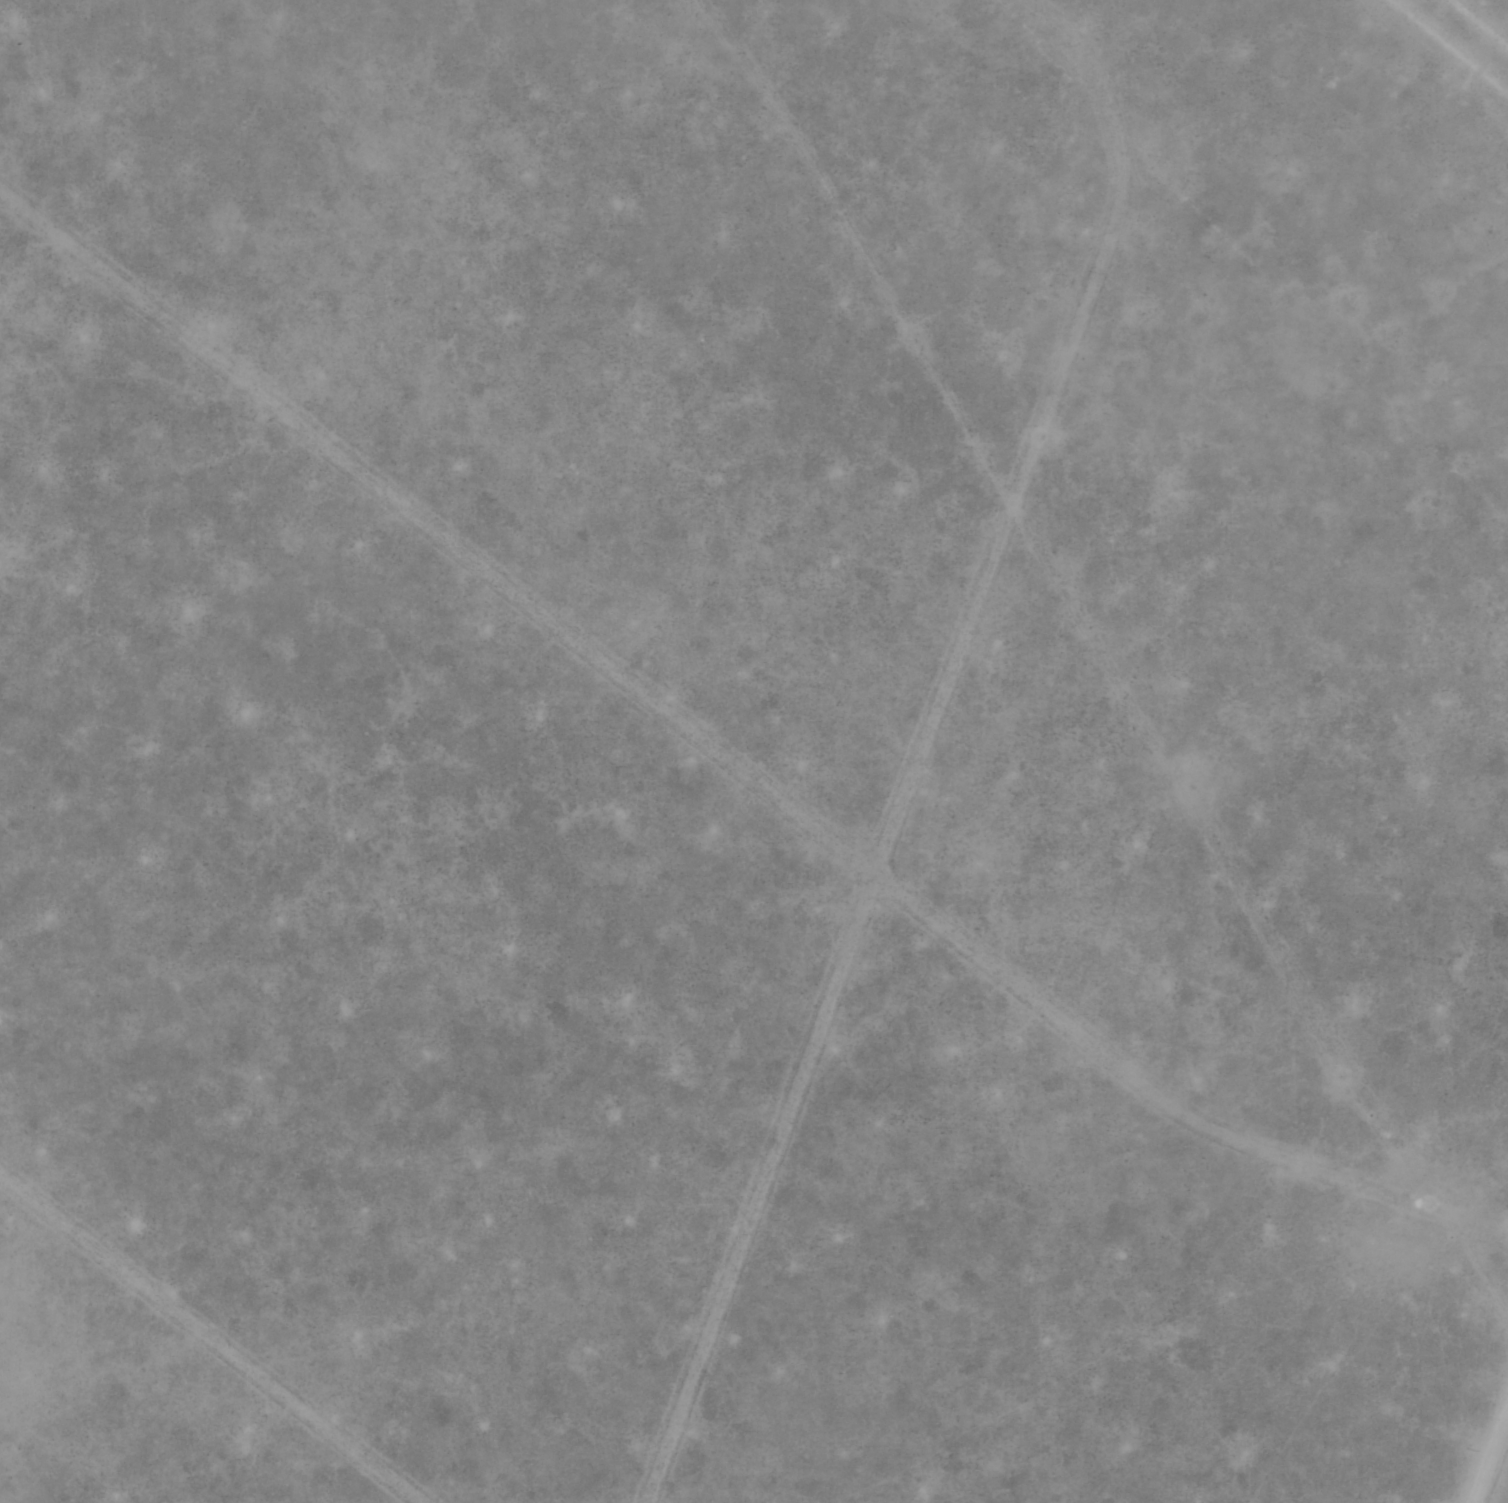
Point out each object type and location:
road: (1465, 34)
road: (1489, 1452)

